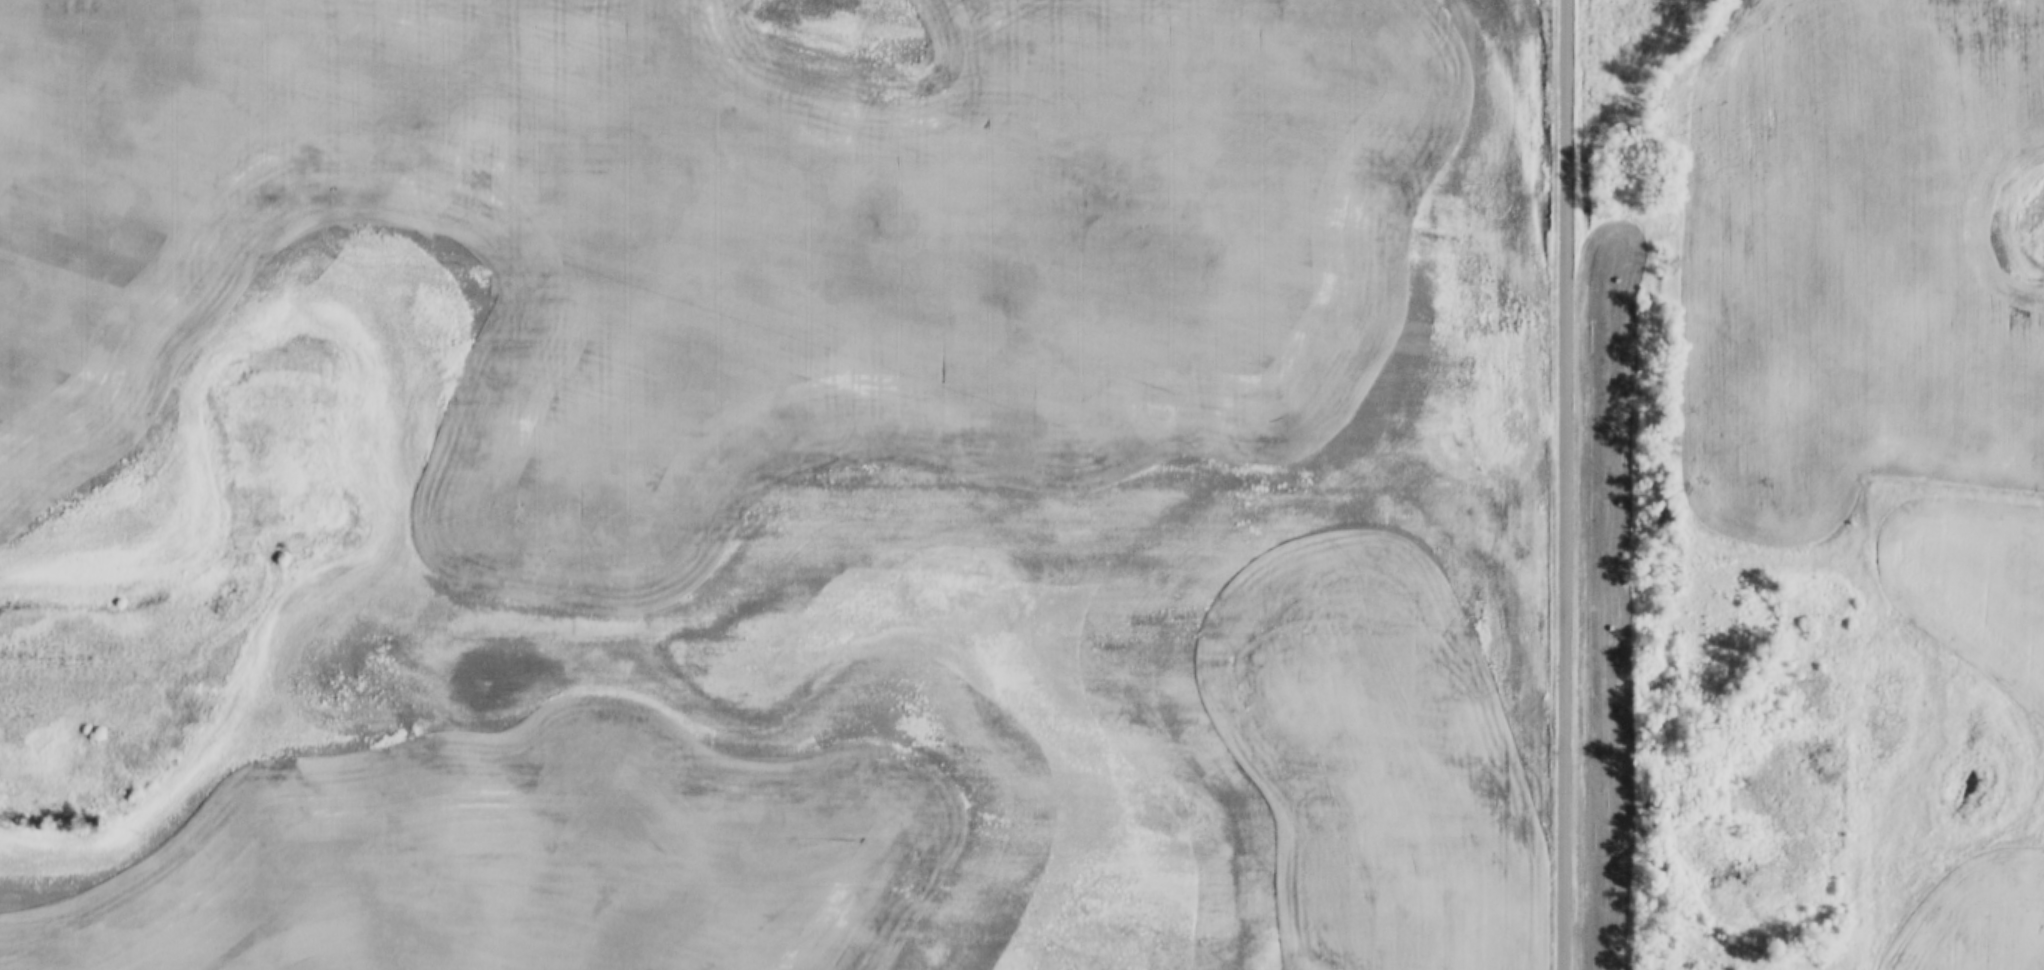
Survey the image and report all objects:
road: (1569, 485)

